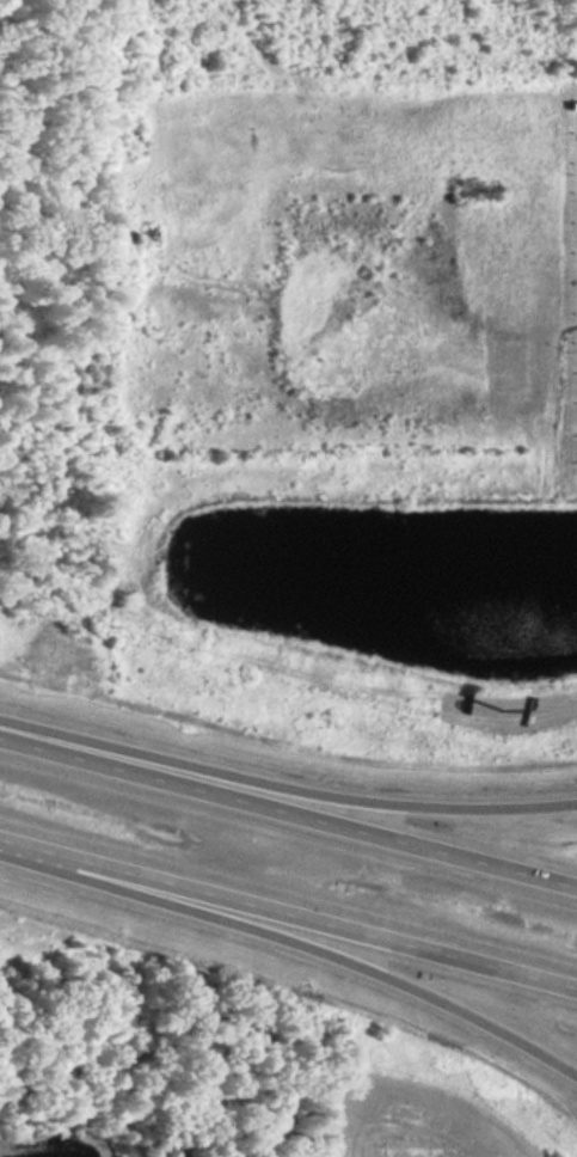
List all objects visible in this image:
road: (286, 779)
road: (288, 803)
road: (288, 917)
road: (294, 951)

